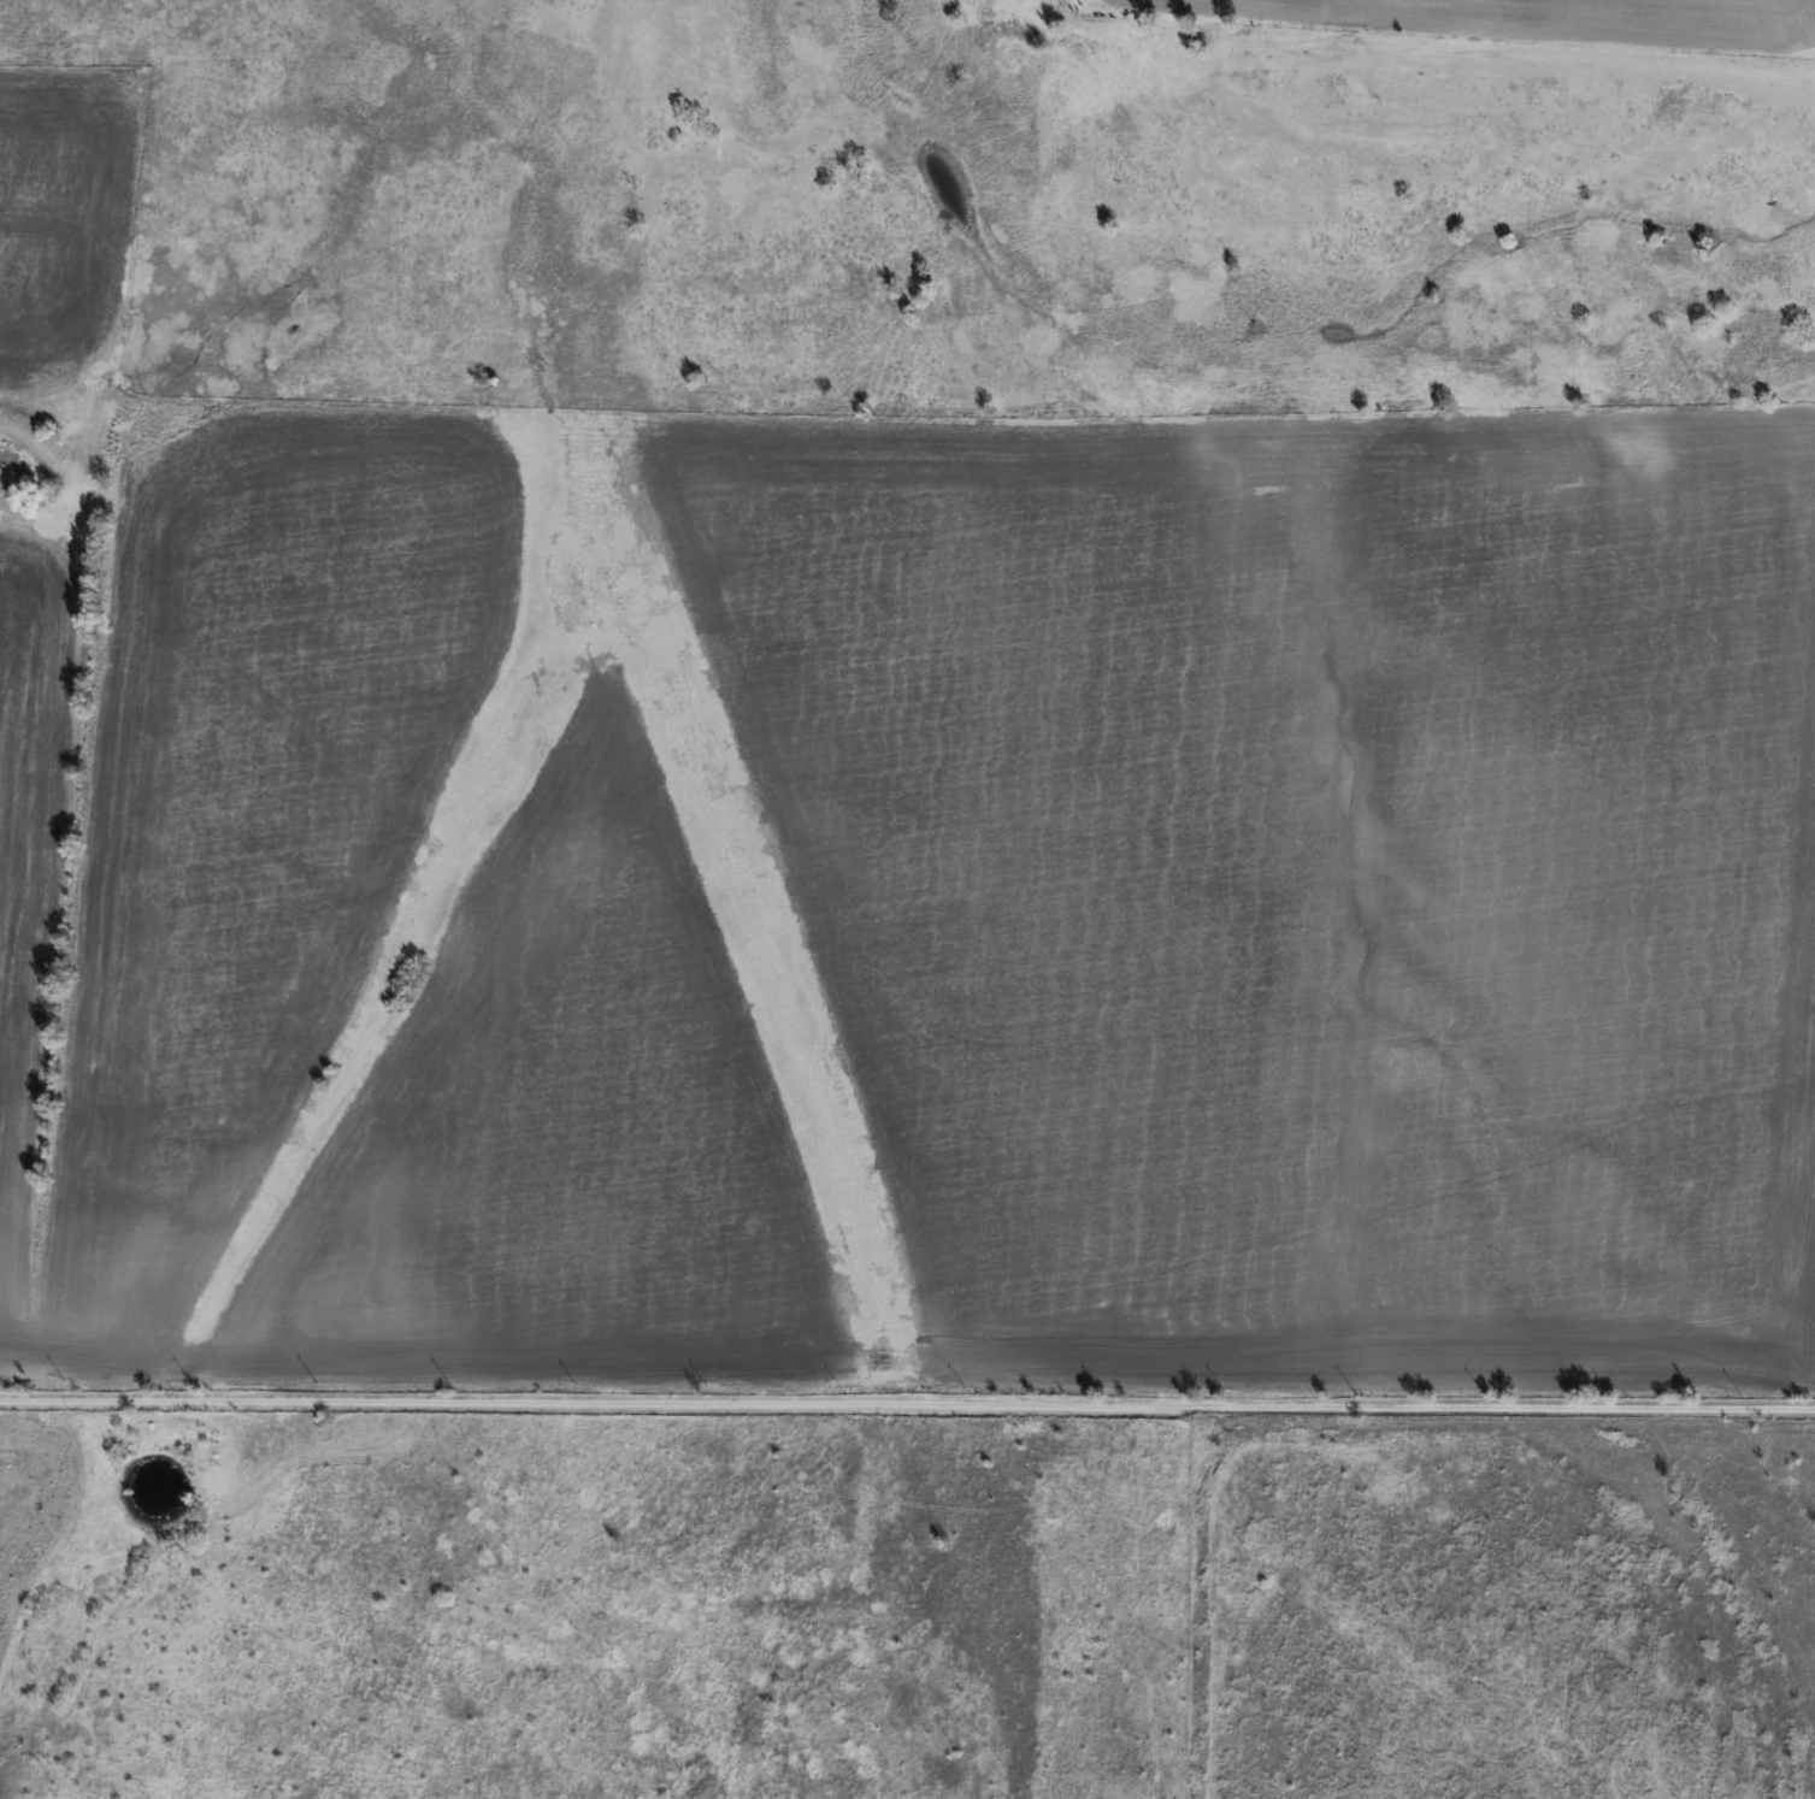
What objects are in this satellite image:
road: (907, 1400)

